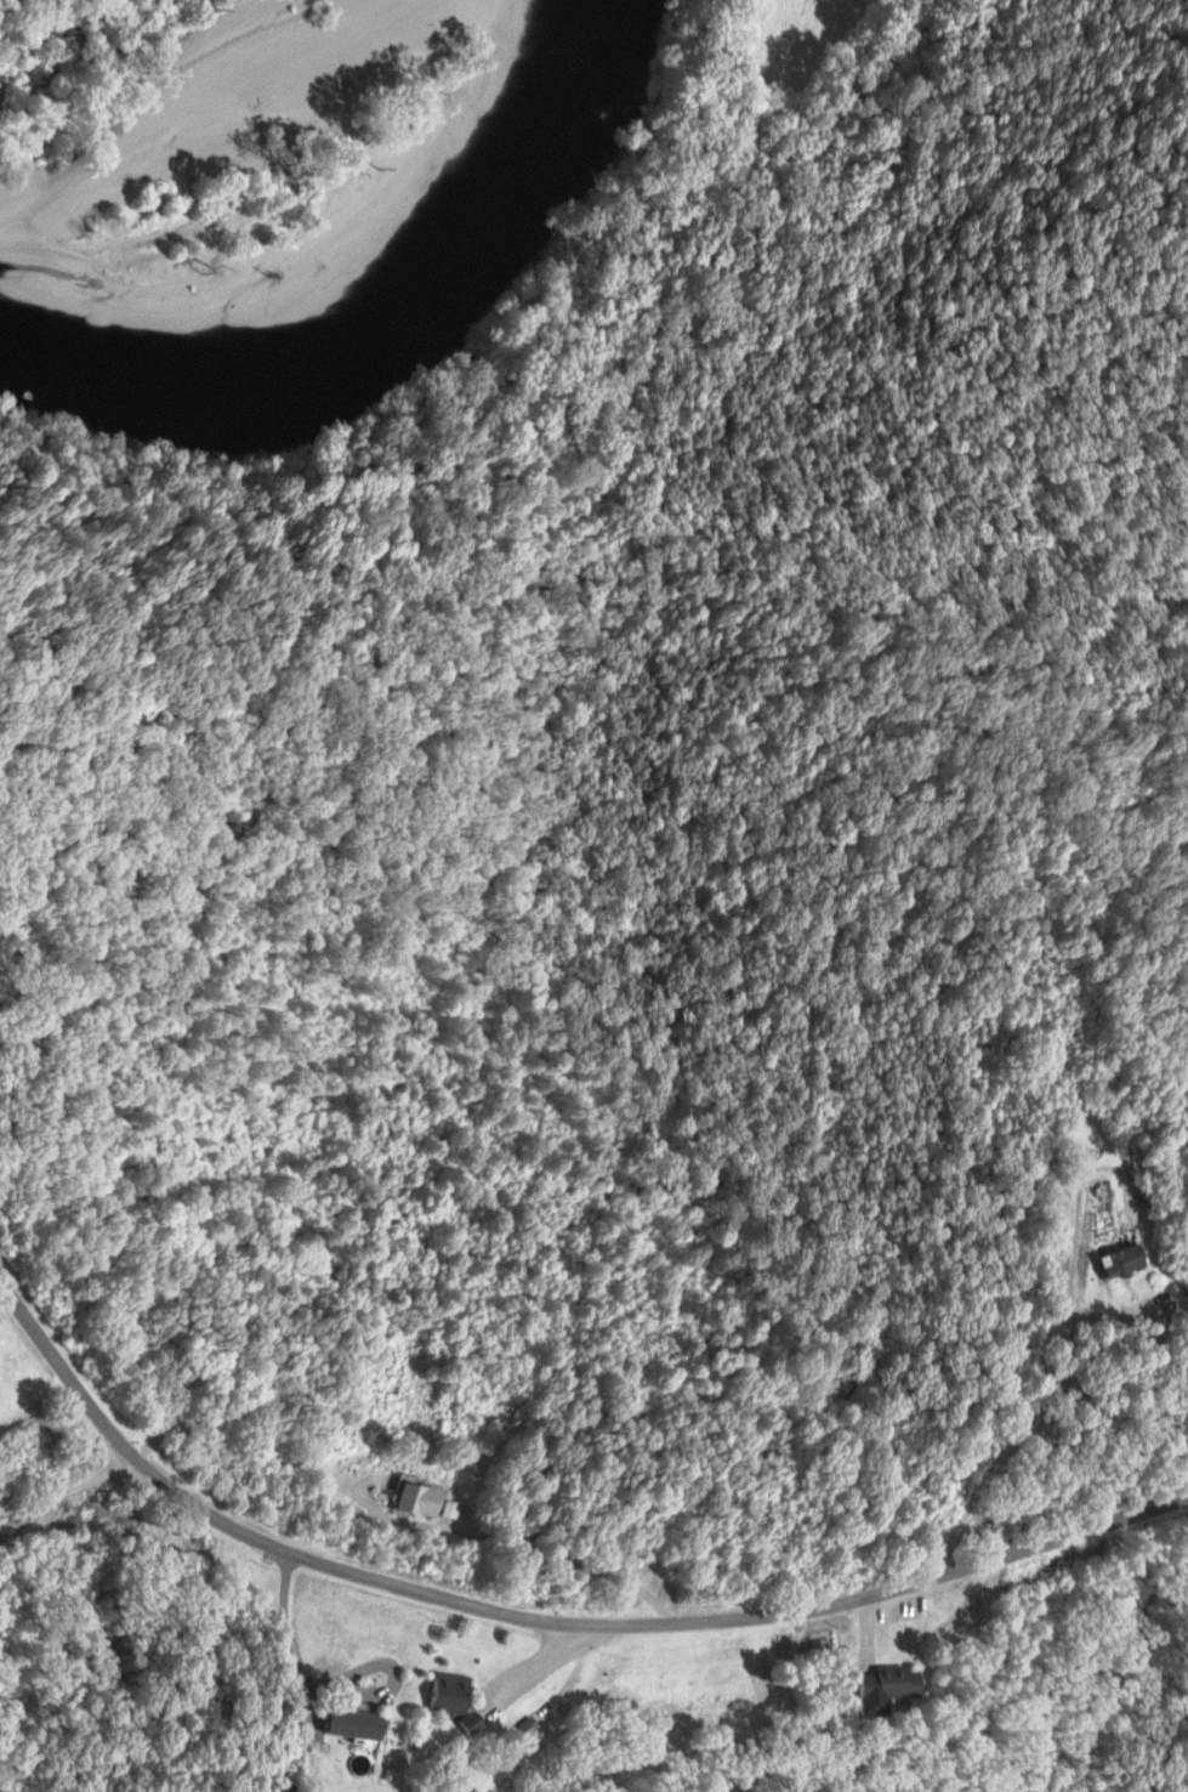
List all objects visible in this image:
river: (404, 329)
building: (1110, 1261)
road: (1062, 1342)
road: (66, 1488)
building: (426, 1502)
road: (387, 1524)
road: (540, 1622)
road: (284, 1649)
road: (540, 1667)
building: (879, 1689)
building: (448, 1691)
building: (357, 1723)
building: (471, 1723)

